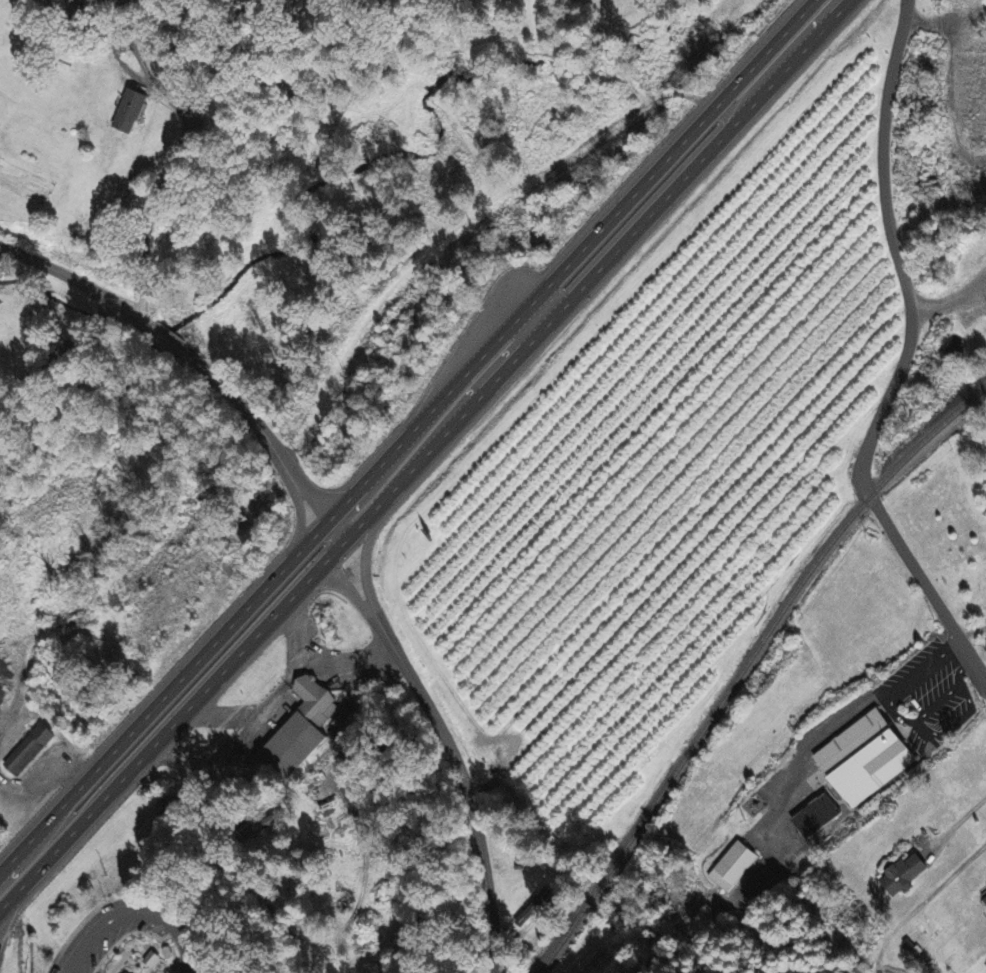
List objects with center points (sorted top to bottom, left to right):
road: (836, 7)
road: (838, 7)
road: (801, 11)
building: (132, 111)
road: (186, 134)
road: (595, 235)
road: (892, 253)
road: (585, 282)
road: (186, 352)
road: (500, 362)
road: (360, 484)
road: (365, 496)
road: (927, 589)
railway: (742, 663)
road: (162, 699)
building: (312, 700)
road: (168, 728)
building: (288, 746)
road: (446, 748)
building: (26, 749)
building: (868, 758)
road: (190, 781)
building: (818, 817)
building: (260, 824)
road: (957, 824)
building: (735, 868)
building: (906, 876)
building: (985, 900)
road: (922, 903)
road: (8, 909)
road: (135, 911)
parking lot: (99, 935)
building: (153, 961)
building: (124, 972)

